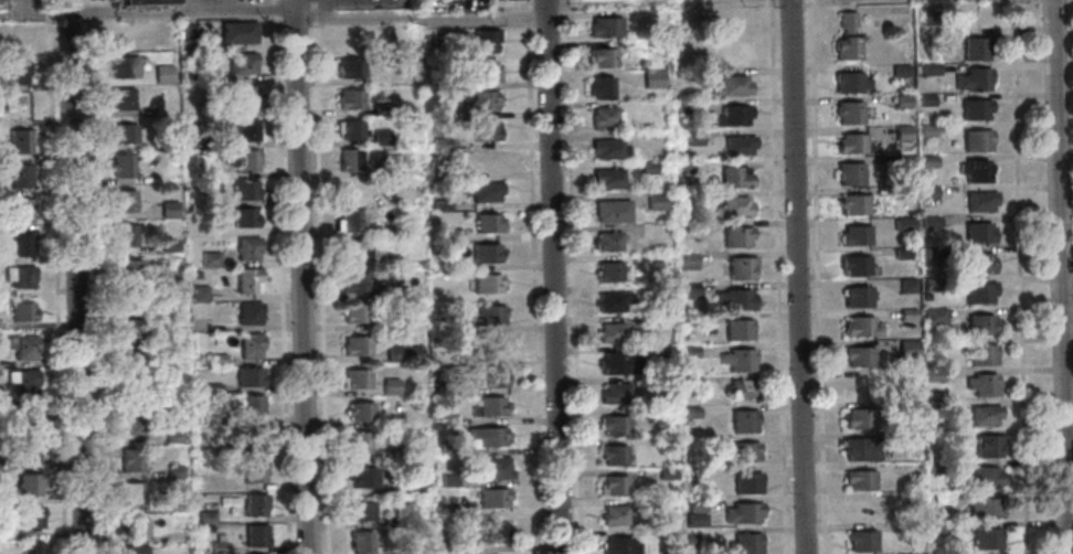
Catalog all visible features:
building: (502, 0)
parking lot: (215, 1)
road: (616, 1)
building: (145, 2)
building: (0, 4)
parking lot: (21, 4)
road: (196, 6)
road: (320, 10)
road: (180, 12)
road: (35, 14)
building: (927, 15)
road: (419, 19)
building: (604, 26)
building: (235, 31)
building: (123, 34)
building: (188, 34)
building: (846, 36)
building: (484, 40)
building: (735, 40)
building: (13, 43)
building: (973, 47)
building: (602, 56)
building: (241, 63)
building: (121, 67)
building: (348, 68)
building: (899, 70)
building: (931, 70)
building: (13, 71)
building: (484, 71)
building: (698, 73)
building: (162, 74)
building: (652, 77)
building: (970, 78)
building: (848, 82)
building: (730, 84)
building: (599, 86)
building: (120, 98)
building: (244, 98)
building: (349, 99)
building: (924, 99)
building: (478, 100)
building: (900, 100)
building: (19, 106)
building: (682, 106)
building: (973, 108)
building: (381, 110)
building: (210, 111)
building: (847, 111)
building: (731, 114)
building: (604, 116)
building: (925, 129)
building: (349, 130)
building: (245, 131)
building: (485, 131)
building: (901, 131)
building: (121, 134)
building: (658, 136)
building: (692, 136)
building: (380, 139)
building: (975, 139)
building: (168, 140)
building: (18, 141)
building: (849, 142)
building: (737, 143)
building: (193, 145)
building: (608, 148)
building: (171, 157)
building: (347, 160)
building: (244, 161)
building: (487, 161)
building: (926, 161)
building: (902, 162)
building: (120, 166)
building: (390, 166)
building: (683, 166)
building: (647, 167)
building: (974, 170)
building: (848, 172)
building: (19, 175)
building: (733, 175)
building: (606, 177)
building: (243, 190)
building: (352, 191)
building: (926, 191)
building: (482, 192)
building: (903, 192)
building: (701, 196)
building: (978, 200)
building: (121, 201)
building: (386, 201)
building: (655, 201)
building: (851, 203)
building: (439, 204)
building: (732, 205)
building: (167, 207)
building: (610, 209)
building: (18, 210)
building: (244, 217)
building: (348, 222)
building: (931, 222)
building: (487, 223)
building: (902, 223)
building: (649, 228)
building: (386, 231)
building: (976, 232)
building: (450, 234)
building: (125, 235)
building: (853, 235)
building: (735, 236)
building: (606, 239)
building: (15, 244)
building: (168, 245)
building: (245, 247)
building: (353, 252)
building: (933, 252)
building: (485, 253)
building: (901, 253)
building: (661, 258)
building: (208, 259)
building: (686, 260)
building: (387, 263)
building: (978, 263)
building: (856, 265)
building: (740, 267)
building: (127, 269)
building: (607, 270)
building: (194, 274)
building: (18, 275)
road: (54, 276)
road: (280, 276)
road: (301, 276)
road: (319, 276)
road: (531, 276)
road: (74, 277)
road: (93, 277)
road: (552, 277)
road: (571, 277)
road: (778, 277)
road: (796, 277)
road: (818, 277)
road: (1020, 277)
road: (1060, 277)
building: (246, 280)
building: (353, 283)
building: (486, 284)
building: (905, 285)
building: (927, 287)
building: (662, 289)
building: (977, 289)
building: (396, 290)
building: (690, 290)
building: (196, 294)
building: (856, 296)
building: (733, 298)
building: (127, 299)
building: (612, 300)
building: (171, 306)
building: (21, 311)
building: (353, 312)
building: (247, 313)
building: (905, 313)
building: (488, 316)
building: (933, 316)
building: (663, 319)
building: (701, 319)
building: (979, 323)
building: (443, 326)
building: (859, 326)
building: (737, 328)
building: (128, 329)
building: (609, 331)
building: (493, 344)
building: (21, 345)
building: (248, 345)
building: (932, 345)
building: (355, 347)
building: (663, 349)
building: (905, 349)
building: (688, 351)
building: (402, 353)
building: (979, 354)
building: (857, 355)
building: (737, 359)
building: (215, 360)
building: (127, 362)
building: (615, 362)
building: (933, 374)
building: (495, 376)
building: (905, 376)
building: (247, 377)
building: (355, 379)
building: (21, 380)
building: (690, 381)
building: (665, 382)
building: (980, 384)
building: (389, 386)
building: (743, 386)
building: (854, 386)
building: (211, 388)
building: (439, 390)
building: (614, 392)
building: (128, 395)
building: (248, 405)
building: (487, 406)
building: (934, 406)
building: (909, 408)
building: (359, 412)
building: (690, 412)
building: (663, 413)
building: (981, 414)
building: (25, 416)
building: (857, 417)
building: (216, 418)
building: (445, 418)
building: (743, 418)
building: (613, 423)
building: (130, 427)
building: (488, 436)
building: (172, 437)
building: (910, 437)
building: (252, 439)
building: (666, 441)
building: (707, 441)
building: (357, 443)
building: (987, 445)
building: (859, 448)
building: (446, 449)
building: (745, 450)
building: (26, 451)
building: (615, 454)
building: (391, 455)
building: (129, 461)
building: (491, 467)
building: (935, 467)
building: (176, 470)
building: (252, 472)
building: (667, 472)
building: (693, 472)
building: (981, 476)
building: (361, 478)
building: (858, 478)
building: (447, 479)
building: (745, 480)
building: (413, 482)
building: (612, 483)
building: (26, 484)
building: (130, 493)
building: (942, 497)
building: (493, 498)
building: (694, 503)
building: (173, 504)
building: (252, 504)
building: (981, 508)
road: (1070, 509)
building: (359, 510)
building: (862, 510)
building: (449, 511)
building: (742, 511)
building: (615, 514)
building: (29, 518)
building: (204, 518)
building: (693, 518)
building: (392, 520)
road: (1070, 523)
building: (135, 528)
building: (911, 529)
building: (935, 529)
building: (492, 533)
building: (669, 534)
building: (254, 535)
building: (985, 539)
building: (692, 540)
building: (860, 540)
building: (360, 542)
building: (744, 543)
building: (618, 545)
building: (446, 546)
building: (217, 547)
building: (31, 548)
building: (134, 550)
building: (401, 551)
building: (905, 553)

